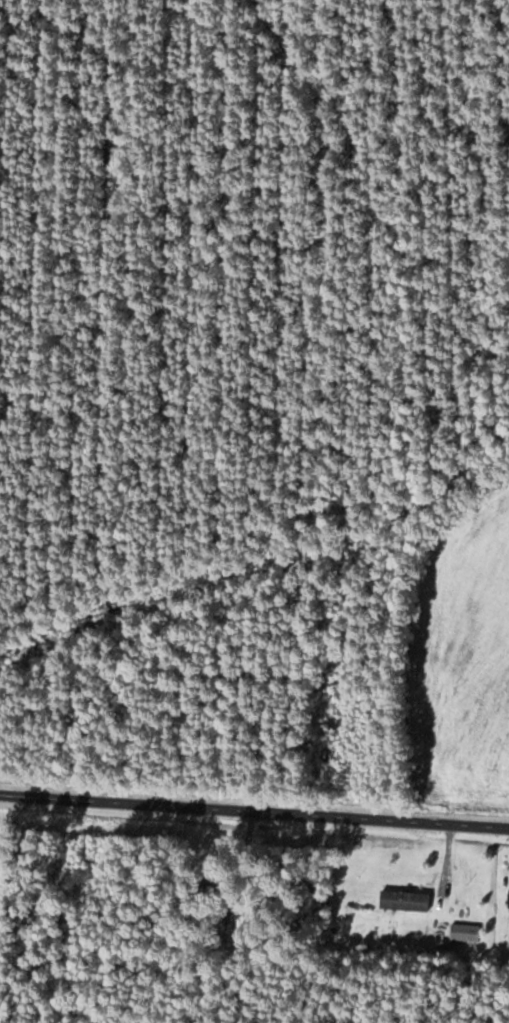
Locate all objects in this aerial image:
road: (254, 815)
building: (405, 900)
building: (235, 929)

